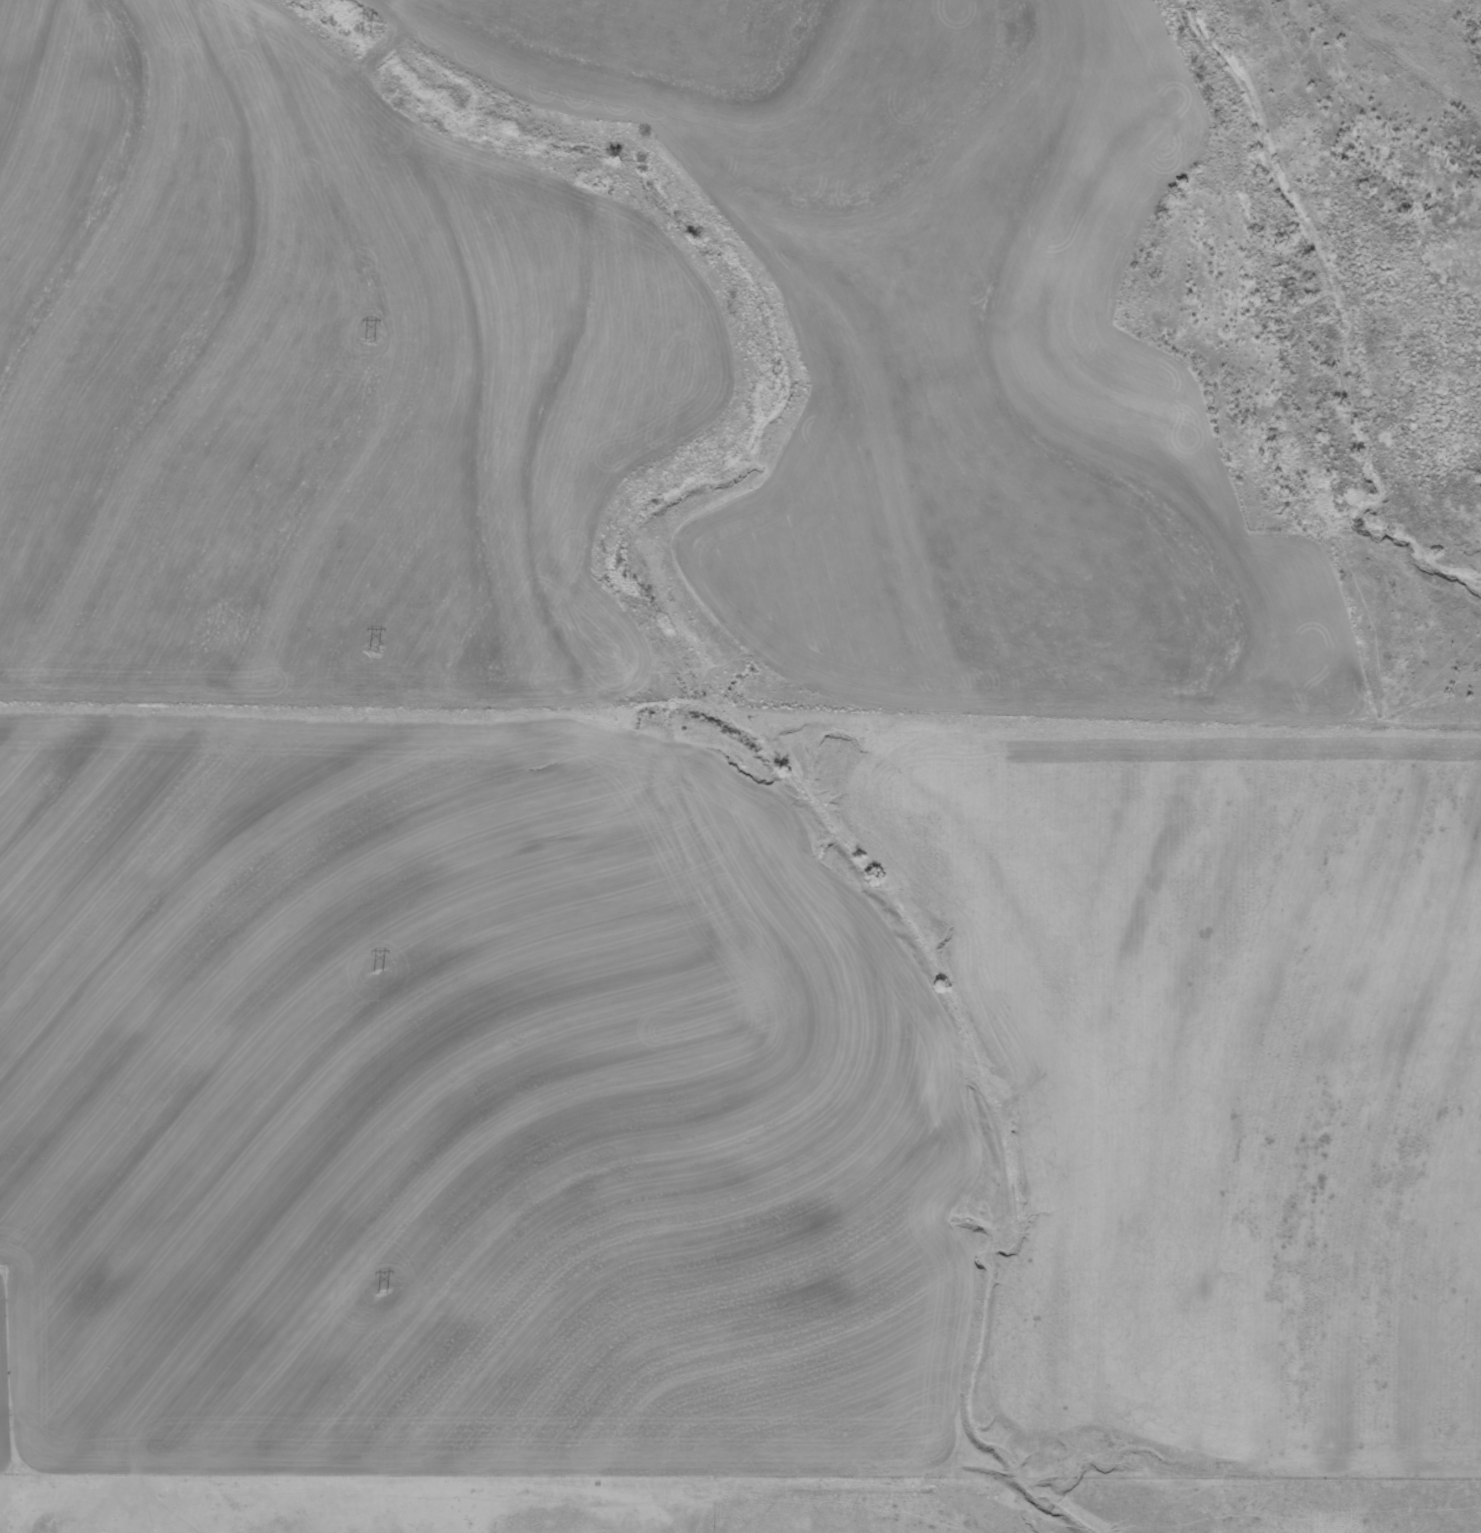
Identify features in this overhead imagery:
power tower: (364, 32)
power tower: (369, 340)
power tower: (372, 649)
power tower: (377, 971)
road: (1272, 1163)
power tower: (382, 1291)

